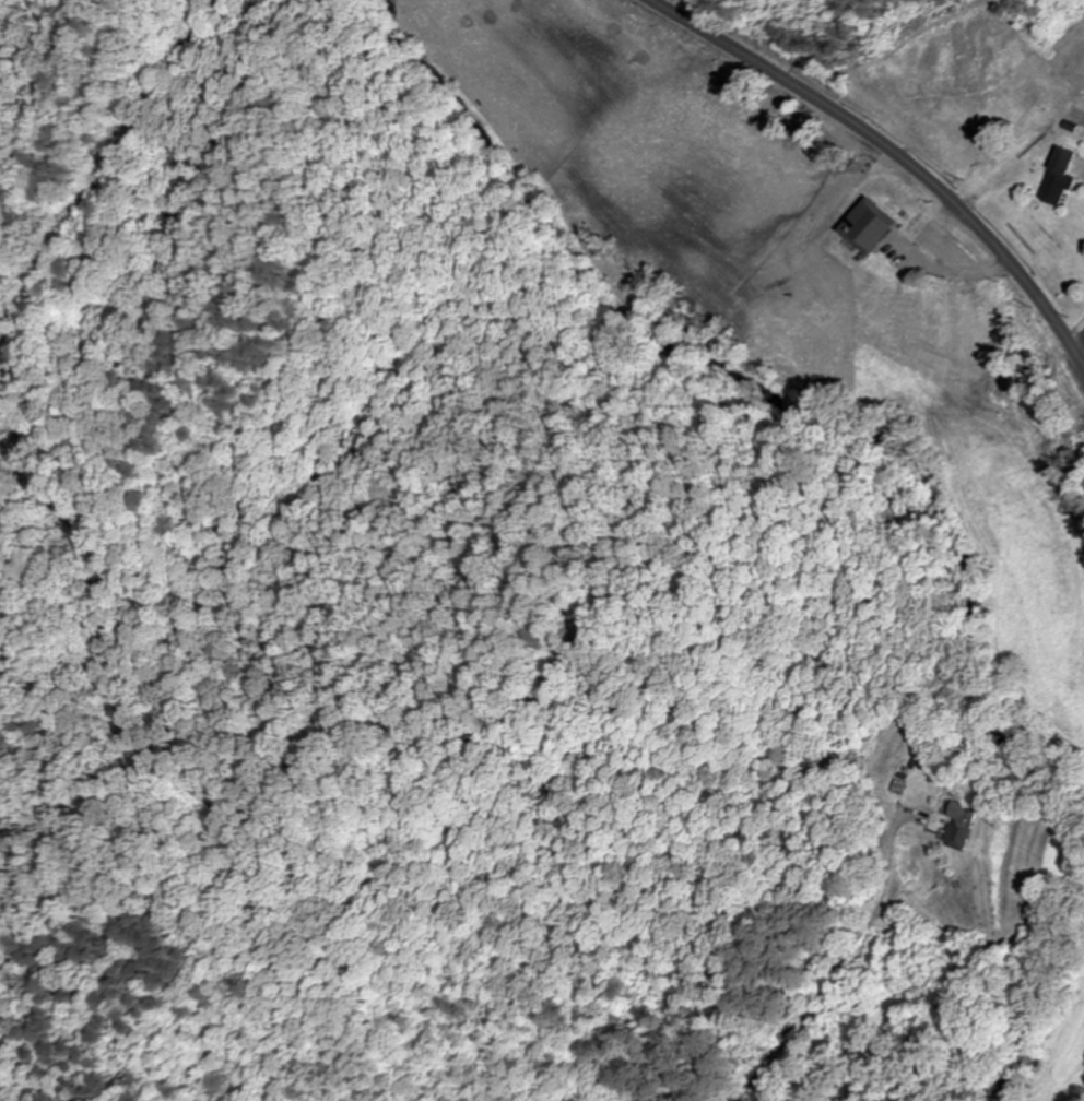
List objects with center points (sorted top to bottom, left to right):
road: (889, 159)
building: (1063, 176)
building: (875, 225)
building: (909, 246)
road: (1081, 367)
building: (976, 826)

